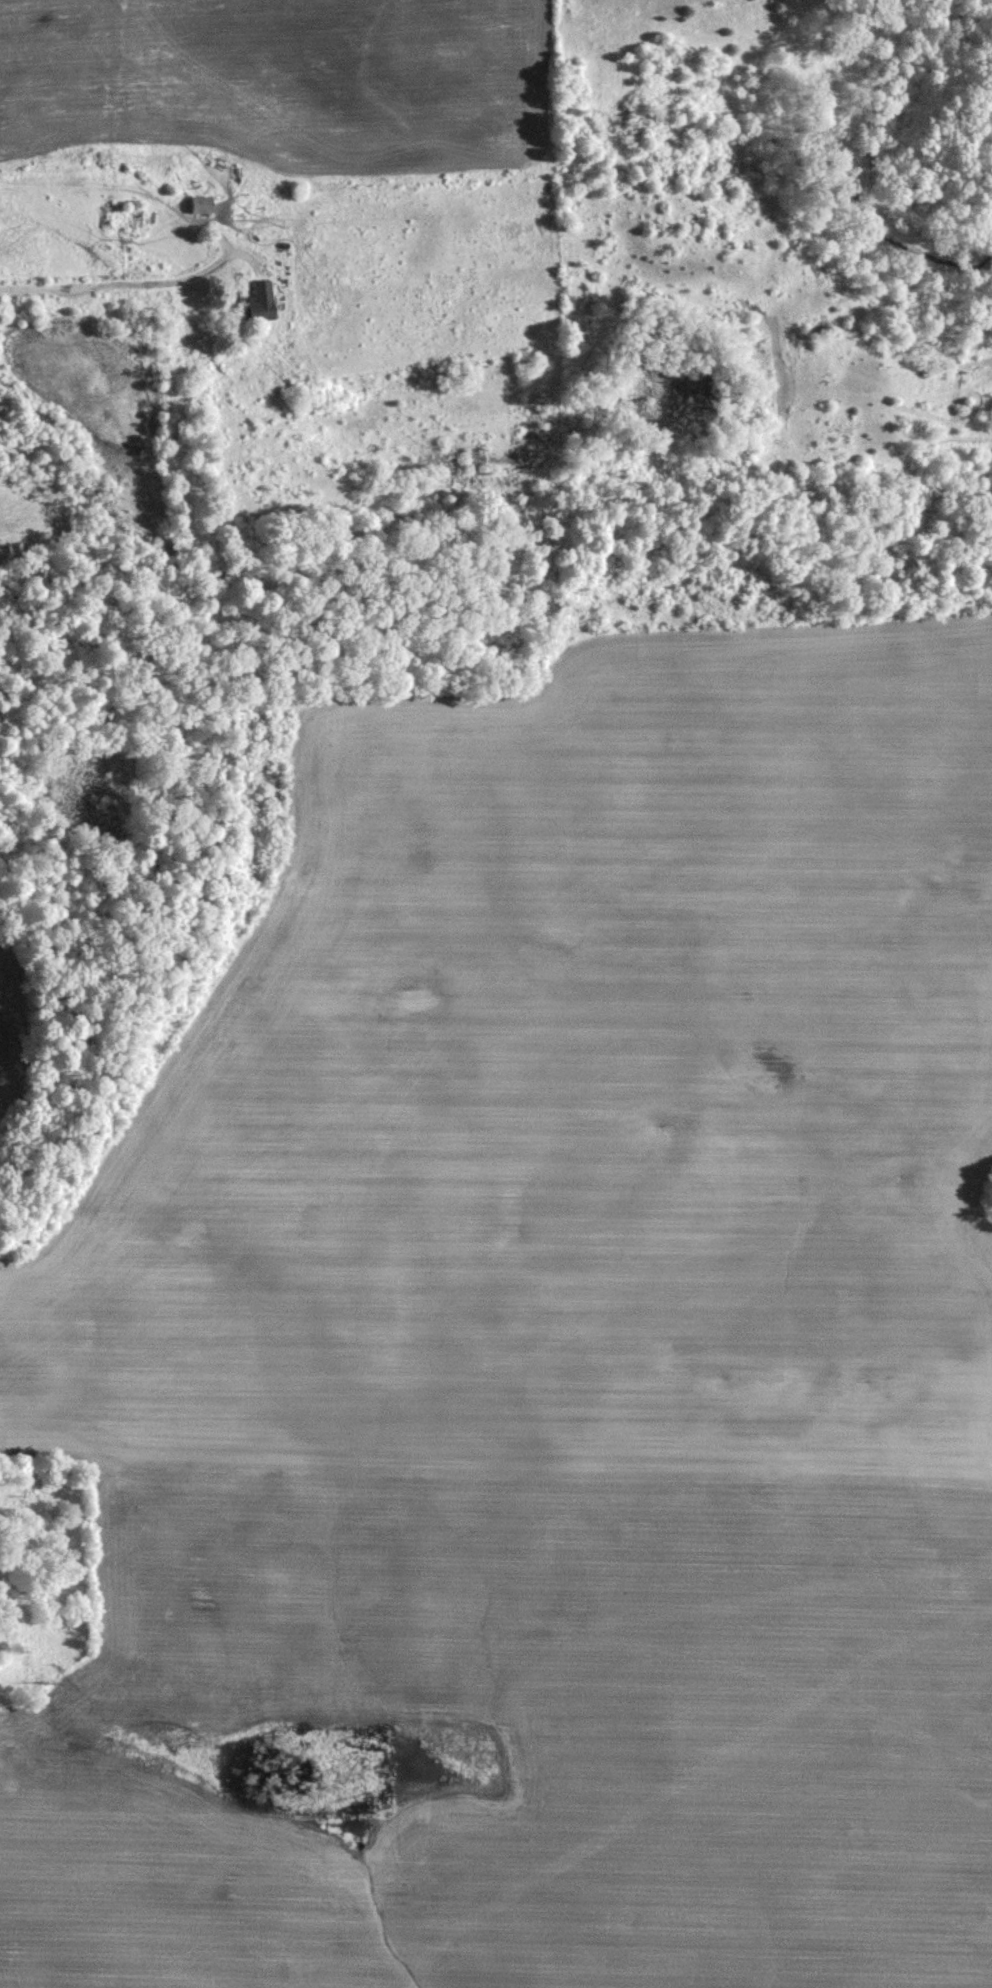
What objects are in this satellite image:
building: (198, 205)
road: (122, 282)
building: (257, 303)

